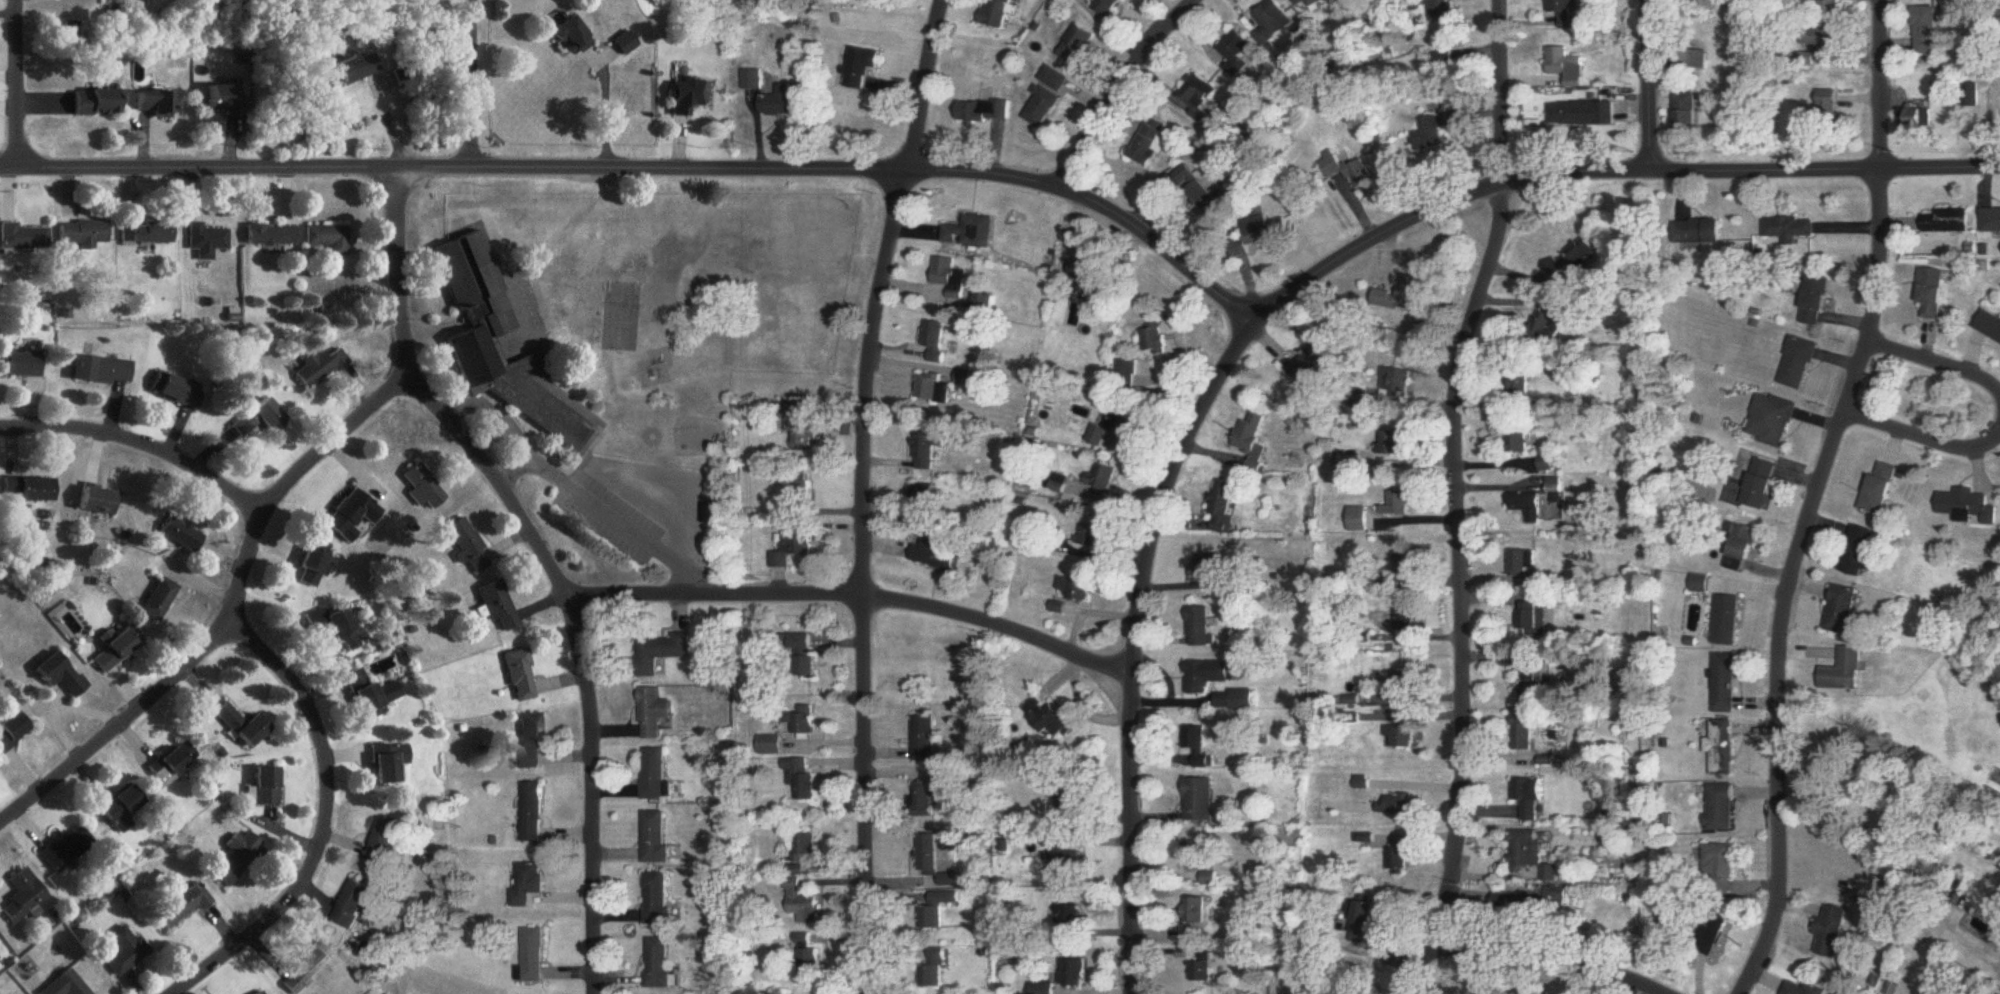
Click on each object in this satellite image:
building: (1310, 2)
building: (1108, 7)
building: (1827, 9)
building: (1442, 11)
building: (1566, 13)
building: (997, 14)
building: (1276, 18)
building: (1928, 31)
building: (571, 37)
building: (1823, 41)
building: (625, 44)
building: (1079, 46)
building: (1239, 48)
building: (1694, 59)
building: (1446, 60)
building: (1567, 67)
building: (862, 68)
building: (1982, 69)
building: (351, 71)
building: (1056, 79)
building: (754, 81)
road: (473, 83)
road: (1882, 83)
road: (1648, 84)
road: (17, 87)
road: (1122, 87)
building: (1970, 96)
building: (692, 97)
building: (1201, 99)
building: (225, 101)
building: (96, 103)
building: (780, 103)
building: (153, 104)
building: (1831, 105)
building: (1043, 107)
building: (986, 113)
building: (1688, 114)
building: (1583, 115)
building: (1455, 119)
building: (1918, 121)
building: (1430, 135)
building: (1152, 143)
road: (1603, 165)
road: (648, 166)
building: (1350, 171)
building: (1196, 191)
building: (1293, 201)
building: (1993, 221)
building: (1951, 222)
building: (1792, 229)
building: (1264, 230)
building: (1701, 231)
building: (146, 233)
building: (971, 233)
building: (84, 234)
building: (270, 236)
building: (23, 238)
building: (328, 239)
building: (206, 241)
building: (1572, 261)
building: (950, 275)
building: (1091, 277)
building: (1405, 294)
building: (1936, 294)
building: (1817, 300)
building: (538, 309)
building: (1990, 324)
building: (1551, 328)
building: (1155, 340)
building: (936, 341)
building: (497, 345)
building: (1311, 360)
building: (22, 364)
building: (1799, 364)
road: (1939, 366)
building: (318, 368)
building: (101, 371)
building: (968, 379)
building: (1399, 384)
building: (936, 390)
building: (175, 391)
building: (257, 420)
building: (1773, 421)
building: (1117, 429)
building: (1521, 439)
road: (1923, 440)
building: (1252, 442)
building: (1395, 444)
road: (140, 445)
building: (930, 452)
building: (1550, 463)
road: (512, 464)
building: (1102, 478)
road: (574, 483)
building: (1763, 485)
building: (420, 486)
building: (1558, 486)
building: (29, 490)
building: (1883, 490)
road: (863, 493)
building: (804, 494)
road: (1451, 500)
building: (99, 501)
building: (1400, 505)
building: (1530, 507)
building: (1969, 507)
building: (1223, 508)
building: (352, 516)
building: (1361, 520)
building: (179, 535)
building: (1091, 536)
building: (379, 543)
building: (468, 546)
building: (795, 548)
building: (1744, 548)
building: (1861, 552)
building: (935, 556)
road: (546, 559)
building: (1524, 564)
building: (314, 565)
building: (1405, 568)
building: (1212, 569)
road: (1790, 577)
building: (1701, 585)
building: (1077, 589)
road: (867, 598)
building: (158, 601)
building: (498, 608)
building: (1843, 611)
building: (1531, 615)
road: (229, 618)
building: (1727, 621)
building: (66, 622)
building: (1408, 622)
building: (1203, 627)
building: (342, 632)
road: (1133, 648)
building: (116, 650)
building: (661, 653)
building: (805, 655)
building: (1845, 672)
building: (61, 675)
building: (520, 676)
building: (1208, 676)
building: (1726, 684)
building: (1400, 685)
building: (370, 695)
building: (1237, 700)
building: (655, 714)
building: (228, 718)
building: (1048, 719)
building: (807, 721)
building: (12, 731)
building: (252, 732)
building: (1402, 737)
building: (925, 739)
building: (529, 741)
building: (1525, 741)
building: (772, 746)
building: (1200, 747)
building: (1723, 748)
building: (172, 763)
building: (389, 763)
building: (655, 775)
building: (802, 780)
building: (266, 786)
building: (926, 800)
building: (1201, 800)
building: (1527, 801)
building: (1397, 805)
building: (1722, 808)
building: (121, 809)
building: (533, 813)
road: (326, 819)
building: (656, 835)
building: (385, 846)
building: (806, 847)
building: (66, 849)
building: (1532, 854)
building: (929, 856)
building: (1197, 857)
building: (237, 858)
building: (1400, 858)
building: (1072, 861)
building: (1720, 866)
building: (528, 885)
building: (22, 897)
building: (658, 900)
building: (1517, 903)
building: (804, 905)
building: (184, 906)
building: (354, 906)
building: (1369, 911)
building: (934, 912)
building: (1196, 912)
building: (1071, 921)
building: (1832, 933)
building: (1714, 934)
building: (124, 952)
building: (534, 956)
building: (808, 960)
building: (659, 963)
road: (1540, 963)
building: (307, 967)
building: (933, 972)
building: (1203, 973)
building: (1073, 974)
building: (65, 985)
building: (1042, 988)
building: (1805, 990)
building: (261, 993)

